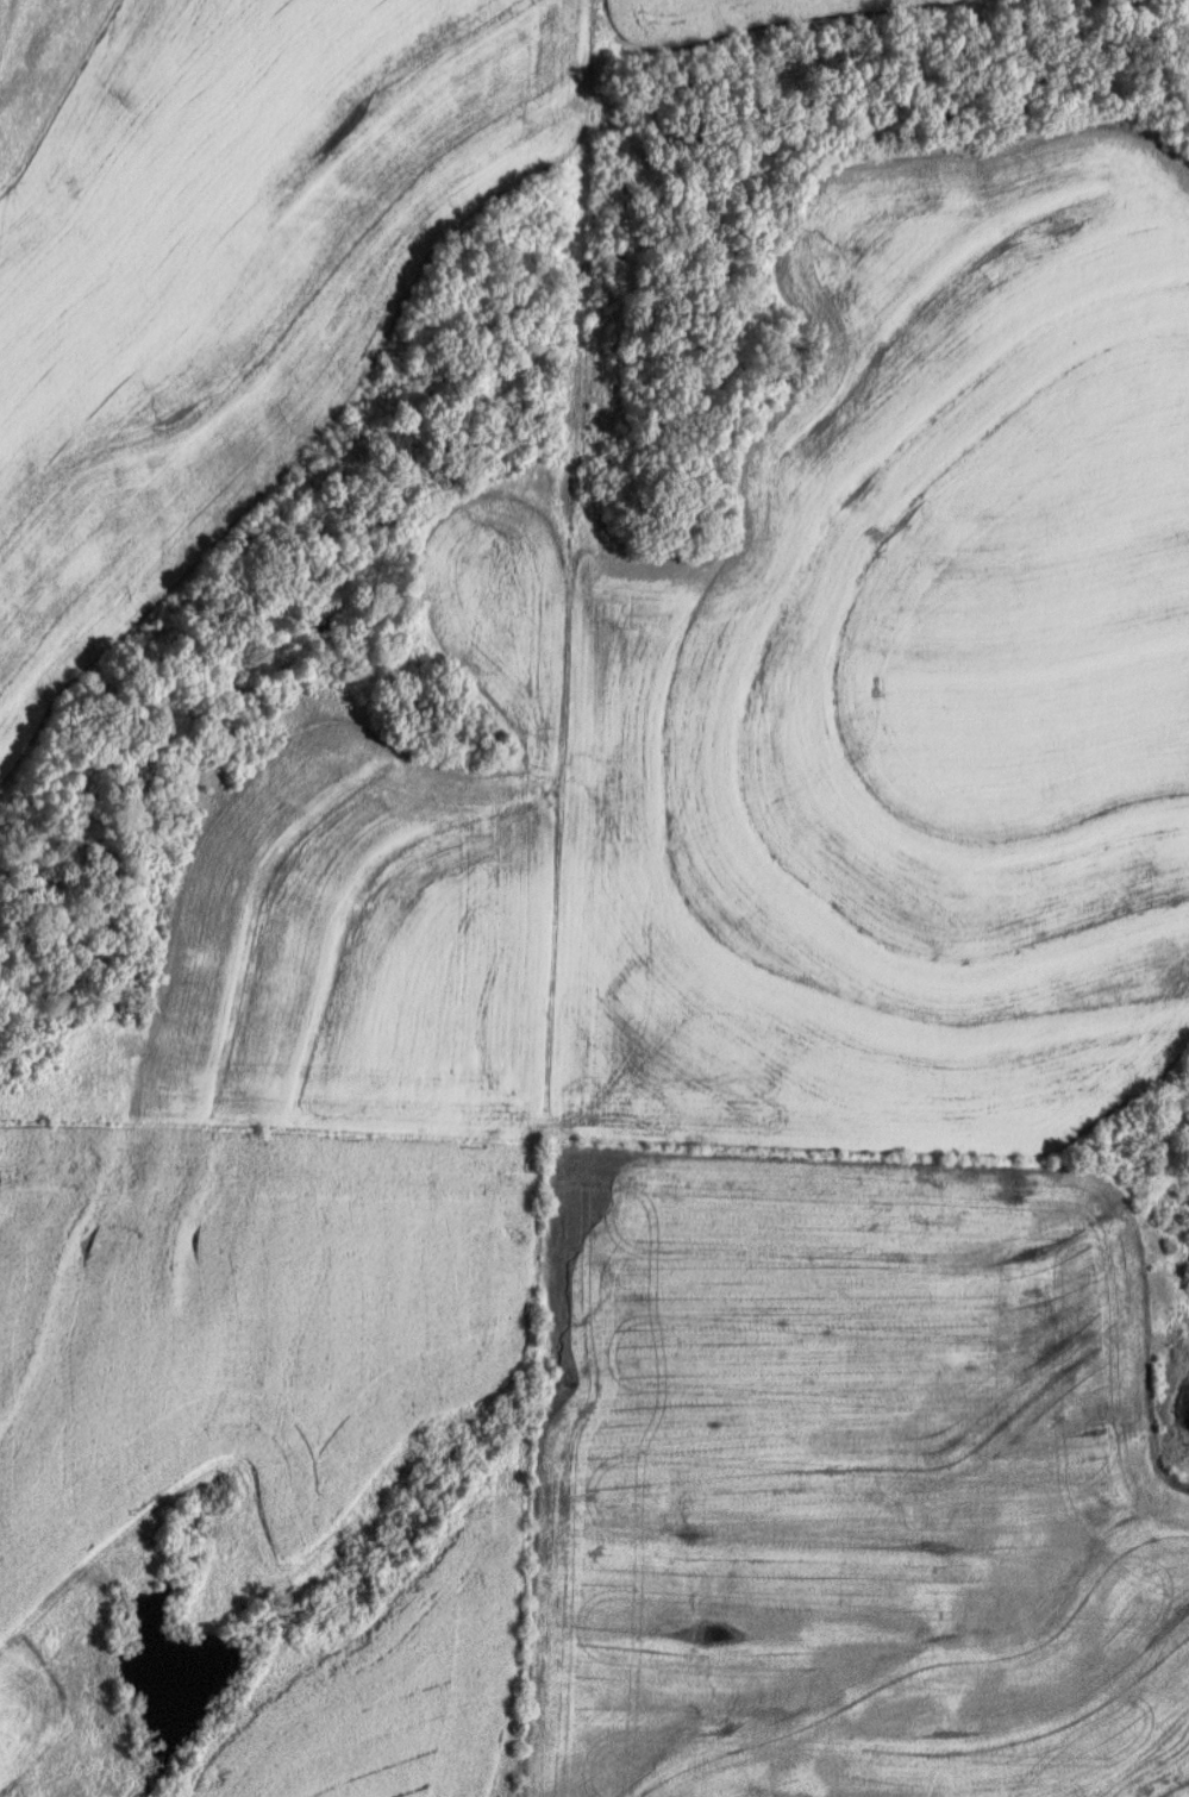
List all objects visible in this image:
crop: (1182, 18)
crop: (907, 693)

